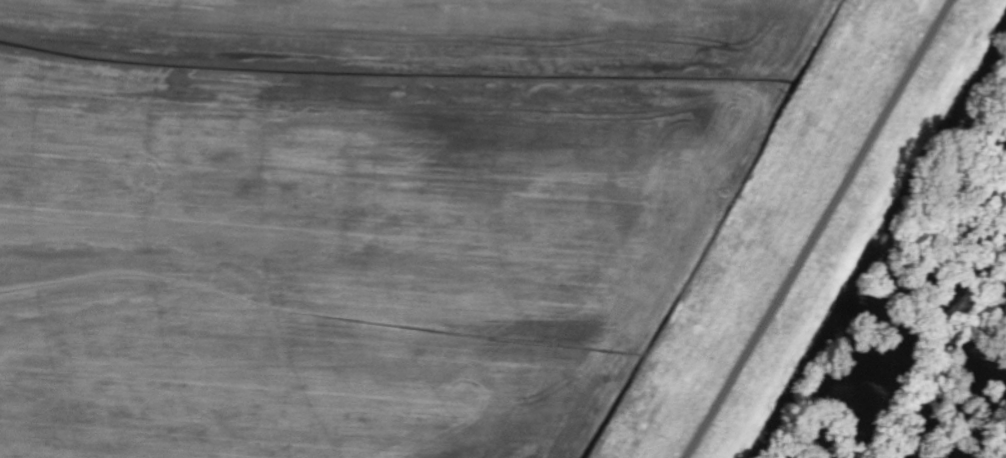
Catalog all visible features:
road: (820, 229)

